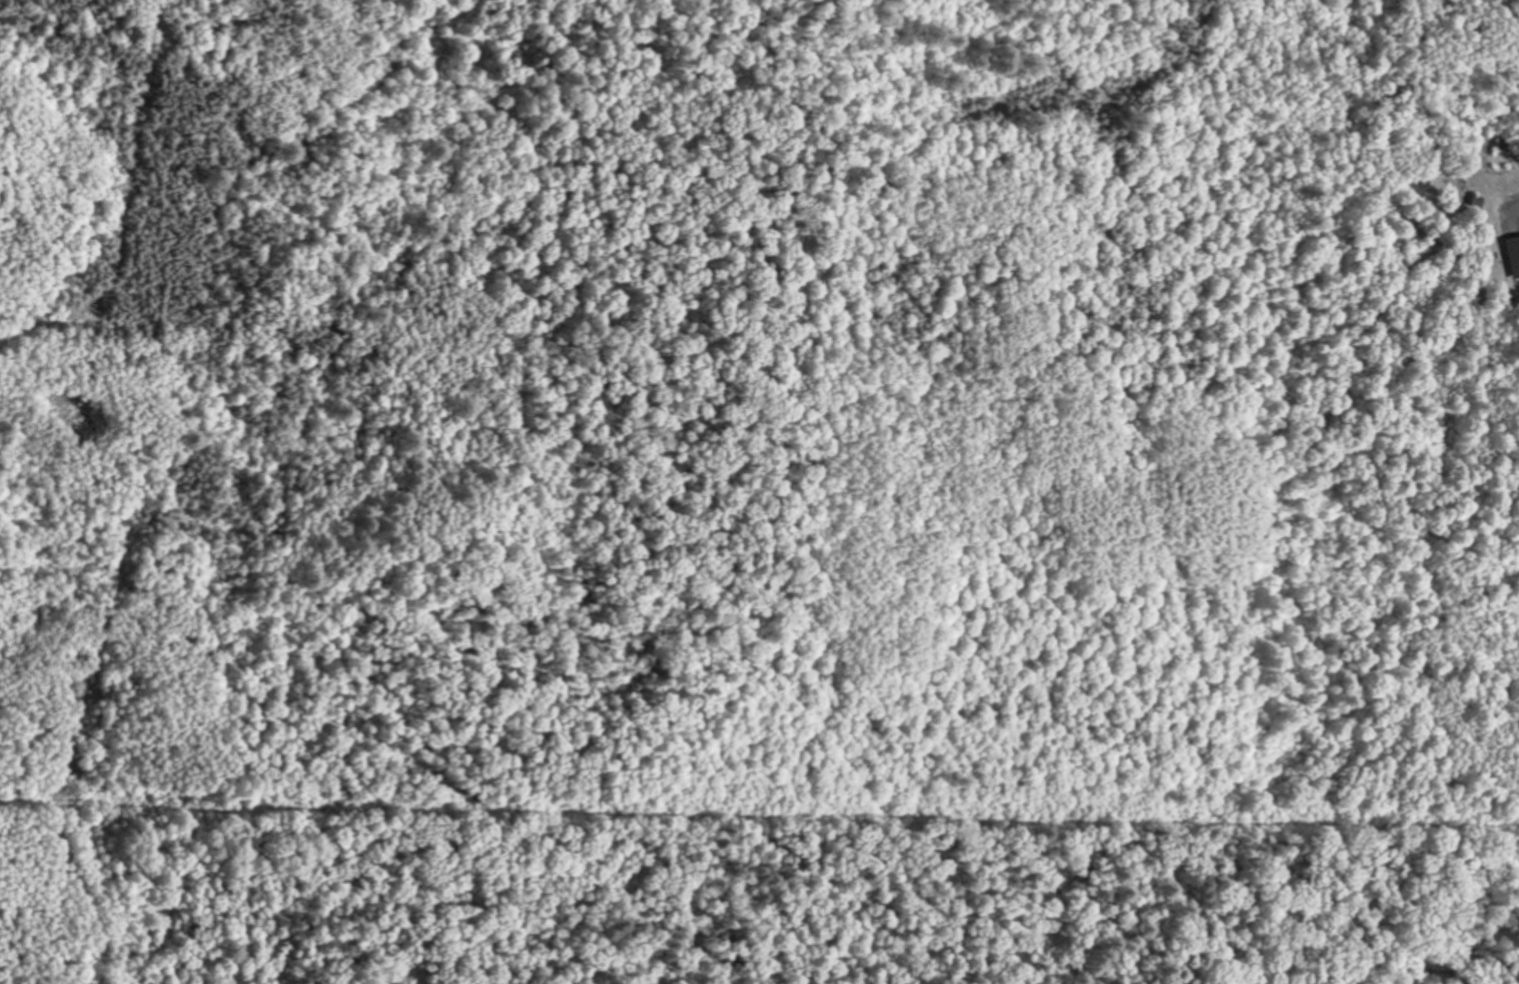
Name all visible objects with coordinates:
building: (1471, 198)
road: (1515, 200)
building: (1511, 253)

